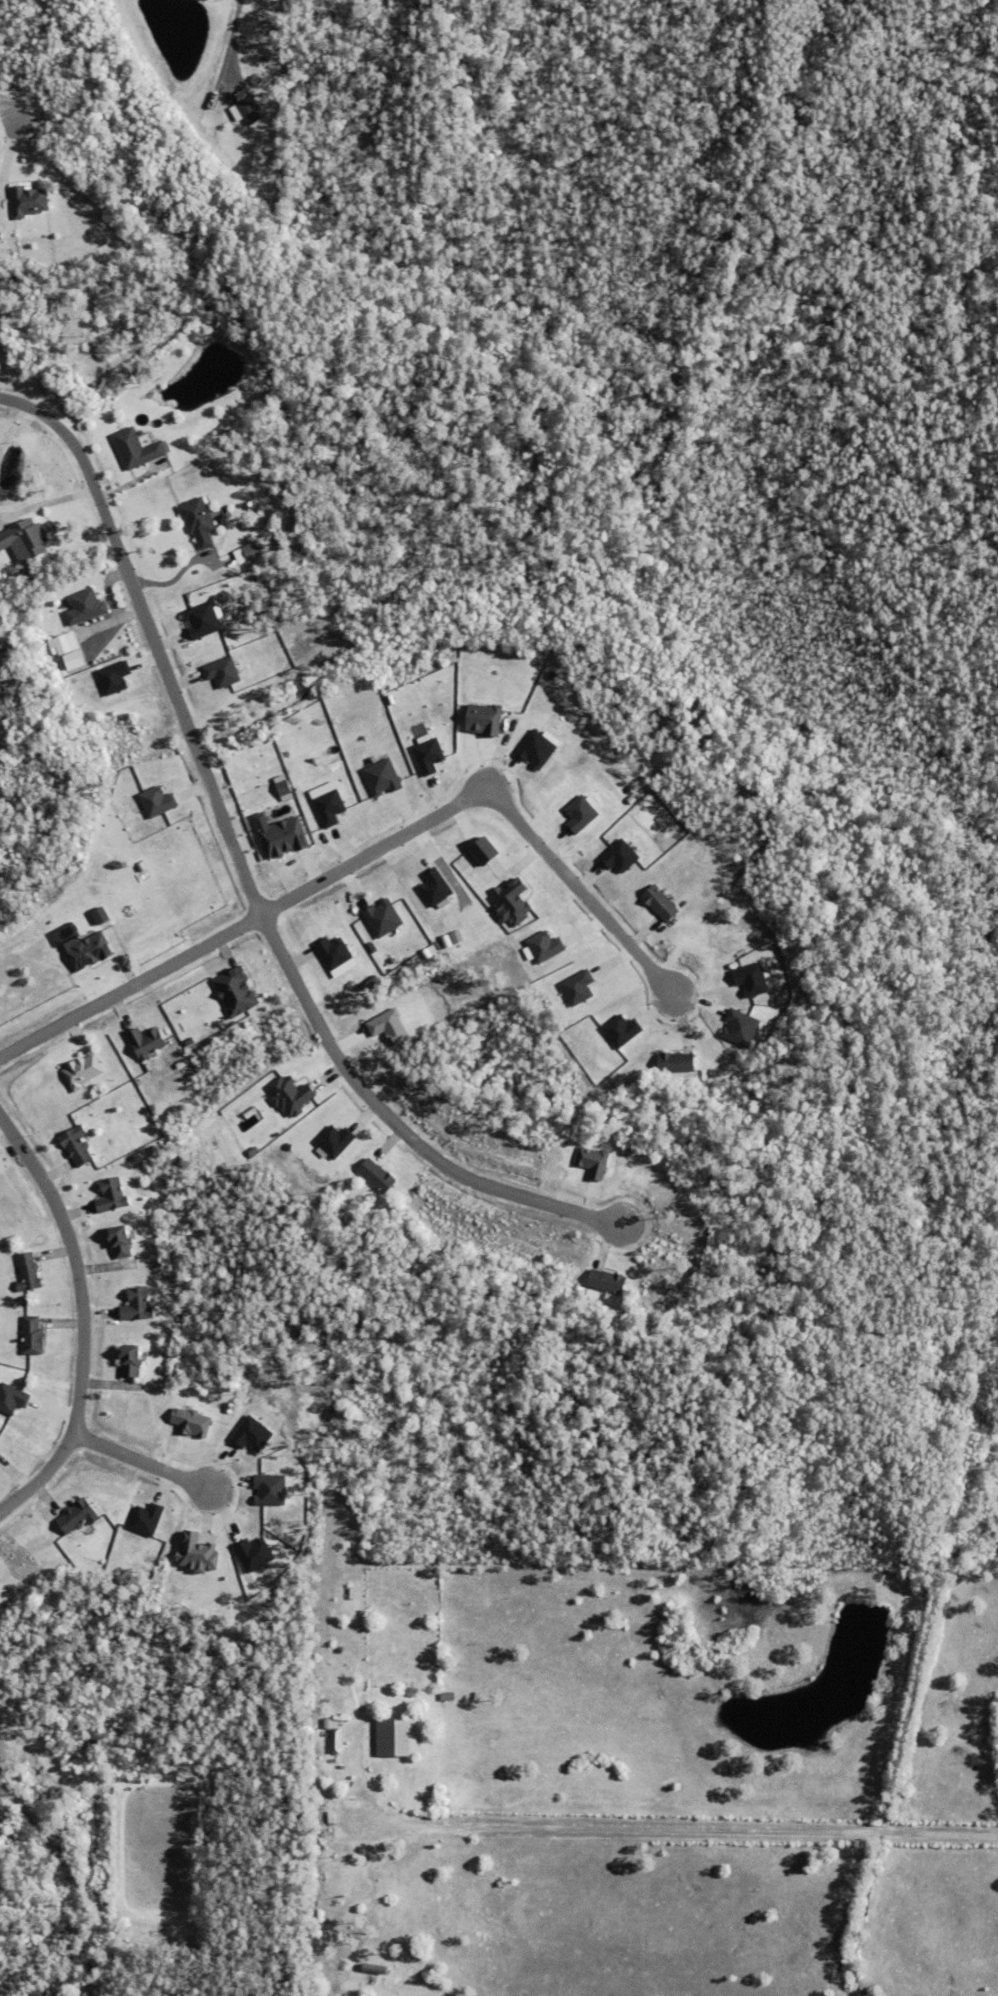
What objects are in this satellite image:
road: (240, 43)
building: (246, 109)
road: (5, 112)
building: (28, 201)
building: (0, 236)
building: (138, 448)
building: (199, 522)
building: (25, 542)
building: (254, 550)
building: (87, 606)
building: (204, 621)
road: (153, 639)
building: (68, 642)
building: (224, 671)
building: (116, 677)
building: (486, 718)
building: (1, 725)
building: (538, 749)
building: (431, 755)
building: (384, 777)
building: (287, 789)
building: (159, 801)
building: (332, 807)
building: (582, 814)
building: (286, 837)
building: (488, 850)
road: (367, 855)
building: (621, 856)
building: (437, 888)
building: (514, 900)
building: (662, 903)
building: (103, 915)
building: (385, 917)
building: (546, 946)
building: (85, 948)
building: (335, 952)
building: (752, 978)
building: (580, 987)
building: (238, 991)
building: (392, 1027)
building: (742, 1027)
building: (623, 1030)
building: (149, 1041)
building: (678, 1063)
building: (83, 1071)
building: (293, 1095)
road: (391, 1125)
building: (337, 1140)
building: (78, 1146)
building: (592, 1160)
building: (113, 1196)
building: (123, 1242)
building: (29, 1272)
building: (609, 1281)
building: (140, 1304)
road: (81, 1323)
building: (33, 1335)
building: (133, 1358)
building: (13, 1397)
building: (193, 1421)
building: (0, 1449)
road: (140, 1460)
building: (80, 1515)
building: (148, 1518)
building: (200, 1552)
building: (352, 1592)
building: (331, 1668)
building: (447, 1695)
building: (400, 1736)
building: (339, 1740)
building: (326, 1742)
building: (331, 1816)
road: (645, 1827)

